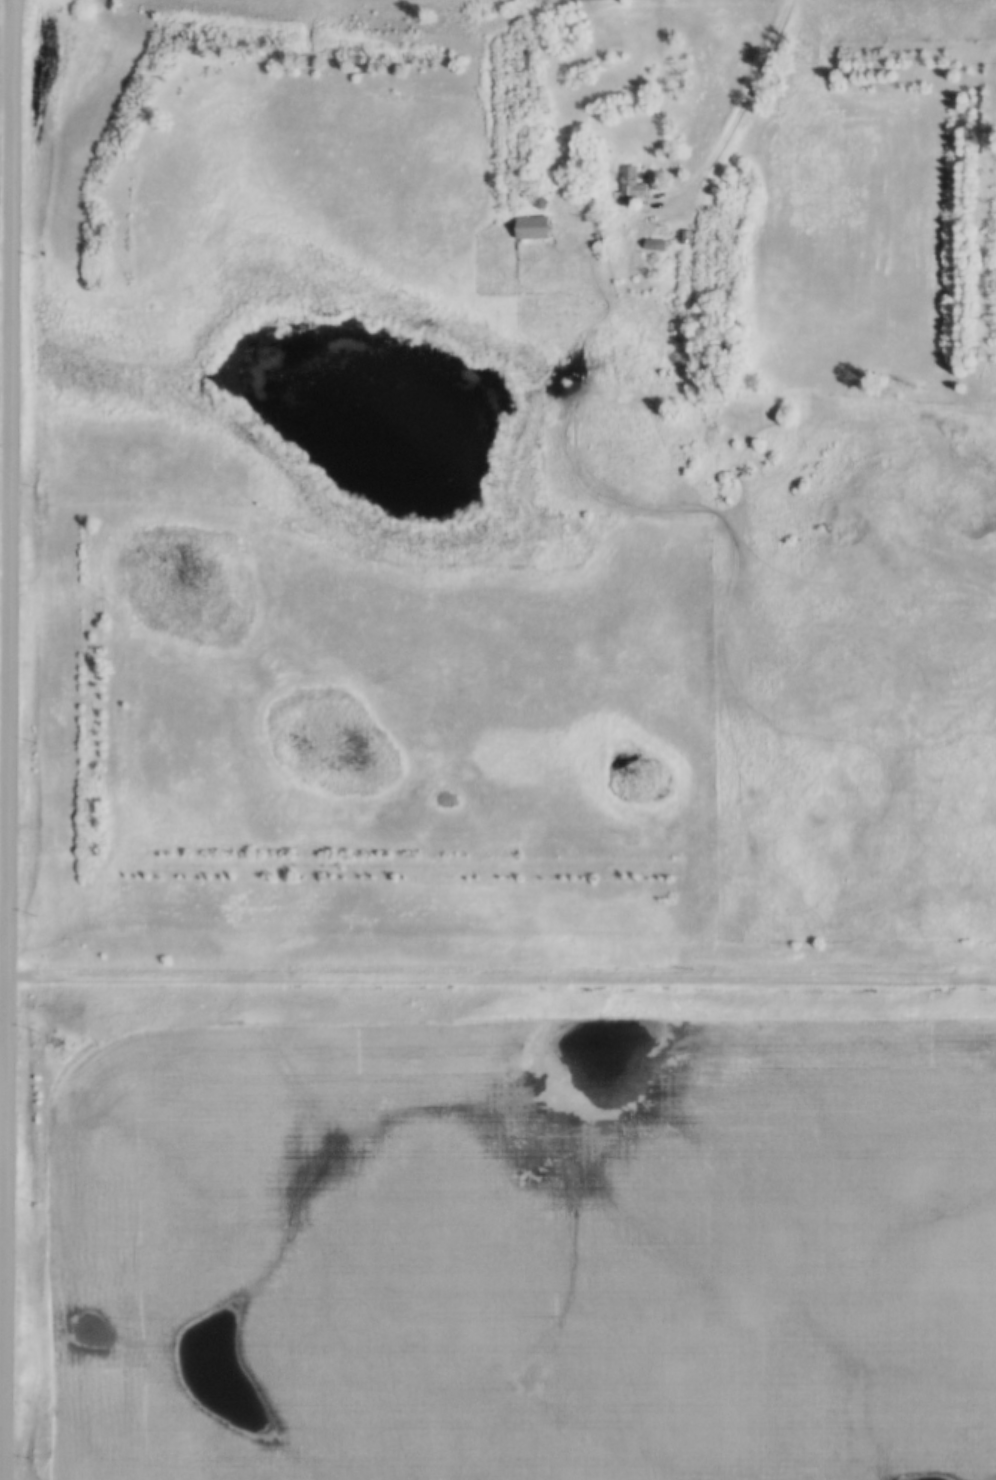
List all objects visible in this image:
road: (740, 110)
building: (629, 184)
building: (535, 228)
road: (5, 740)
building: (445, 800)

